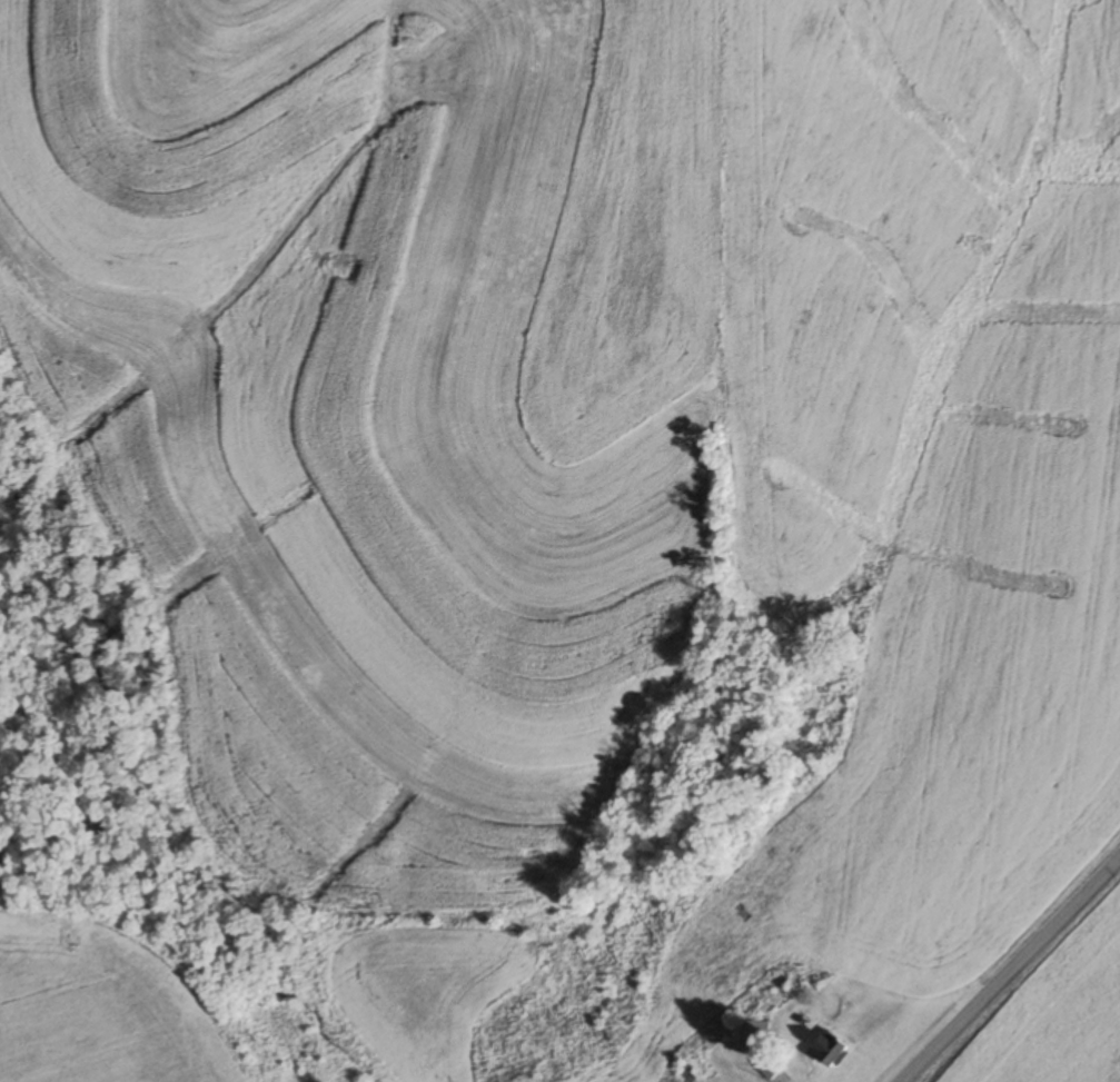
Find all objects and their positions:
road: (1011, 969)
building: (755, 1030)
building: (831, 1050)
building: (771, 1071)

